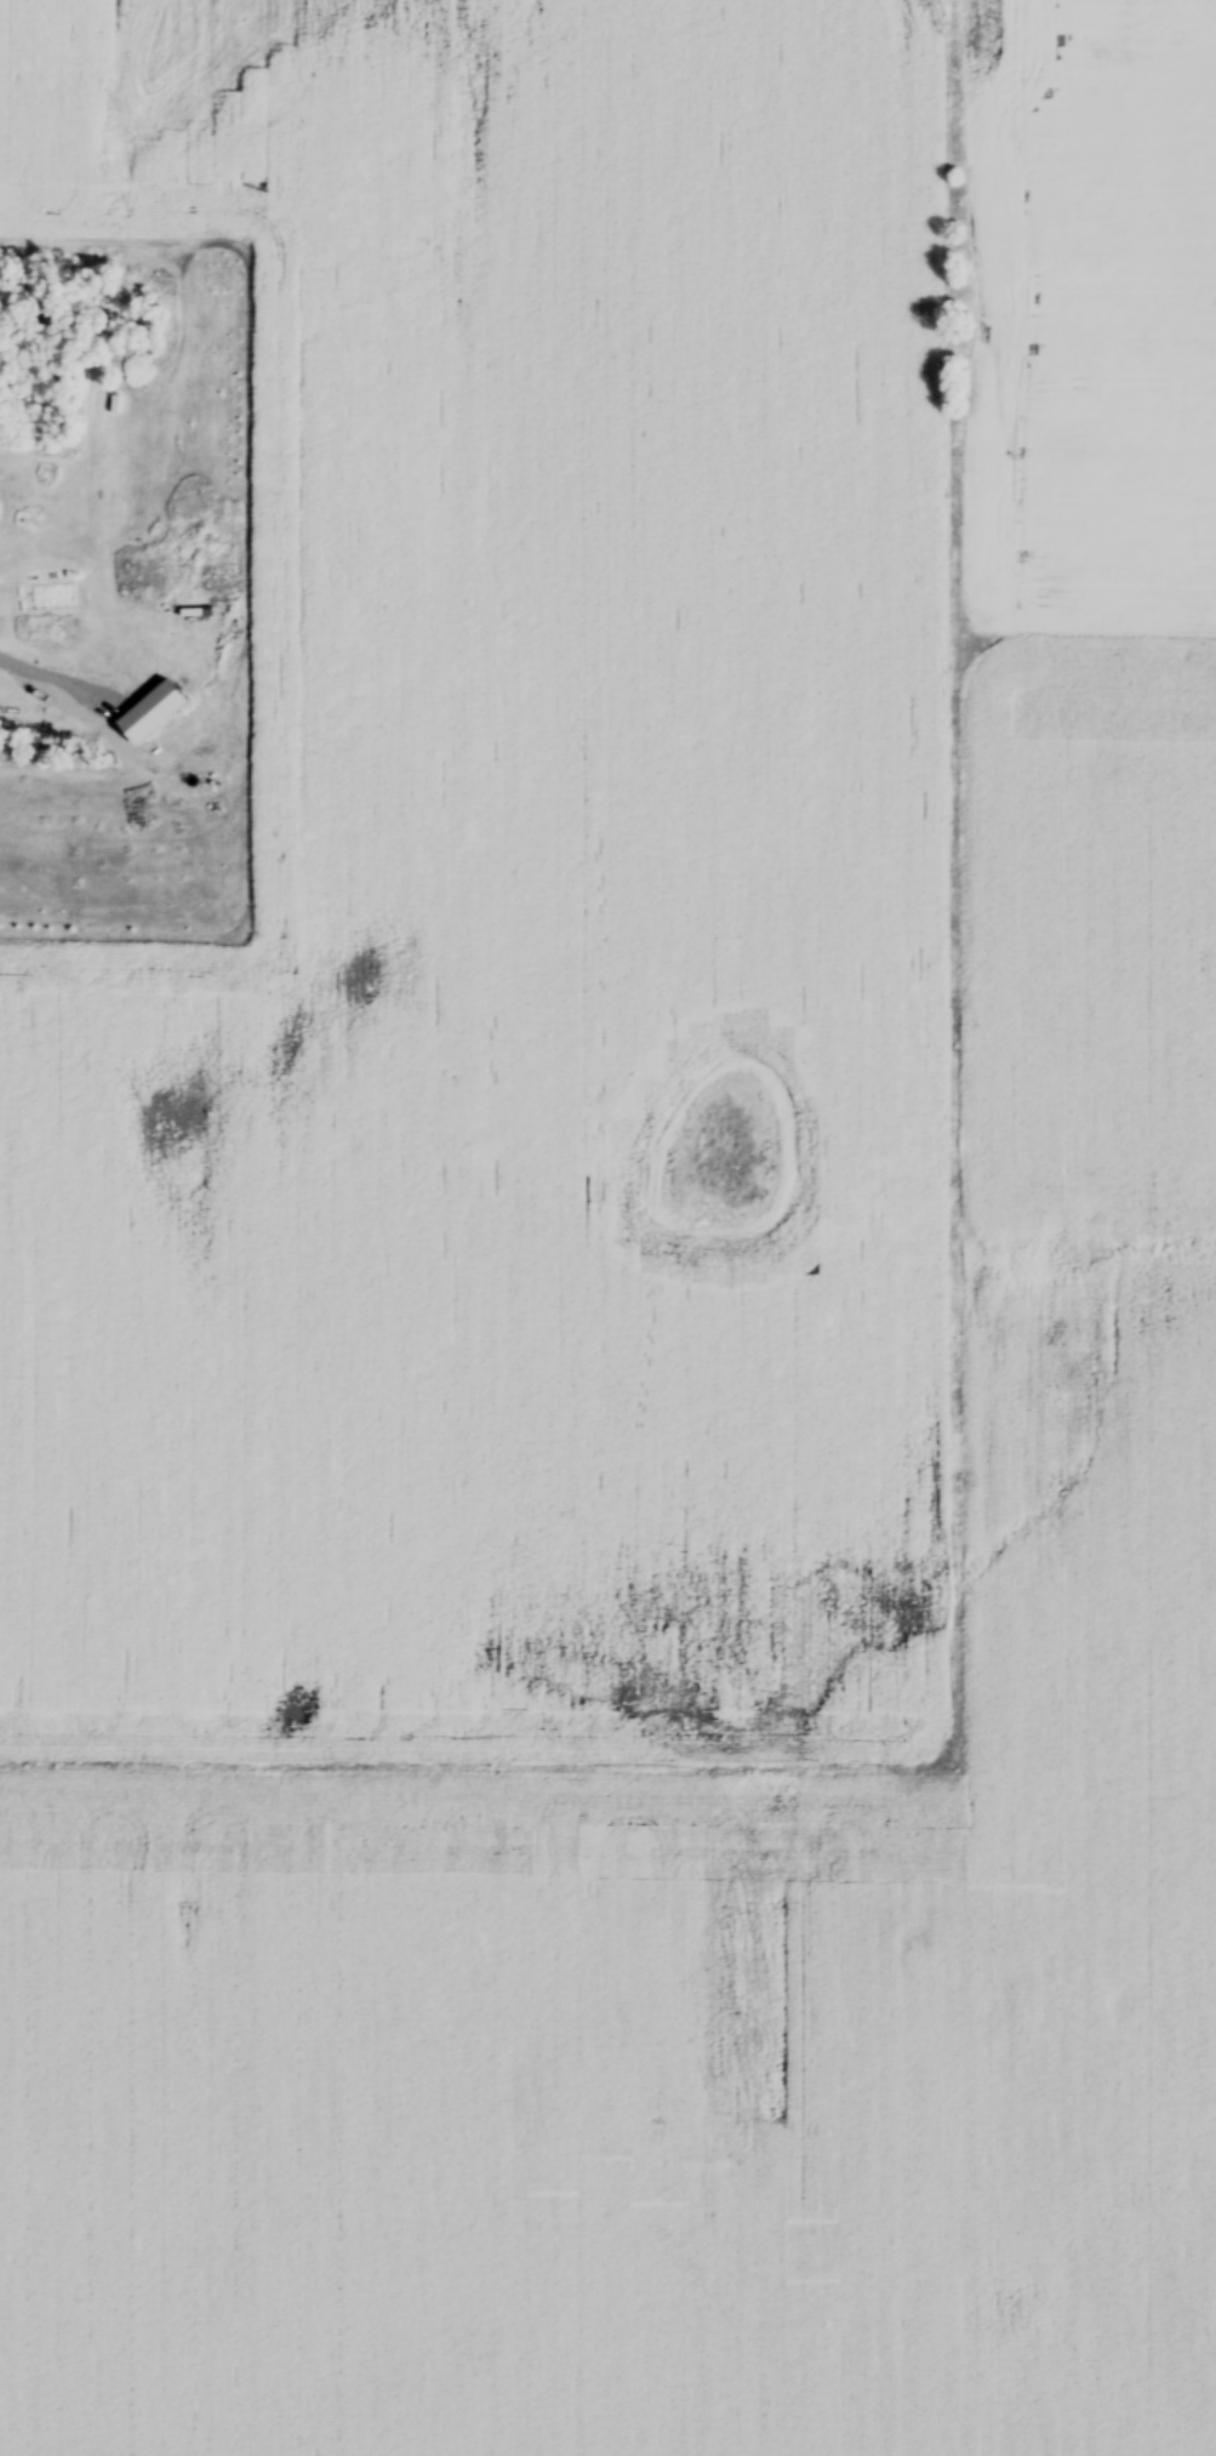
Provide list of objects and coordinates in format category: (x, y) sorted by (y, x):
building: (138, 581)
building: (32, 627)

